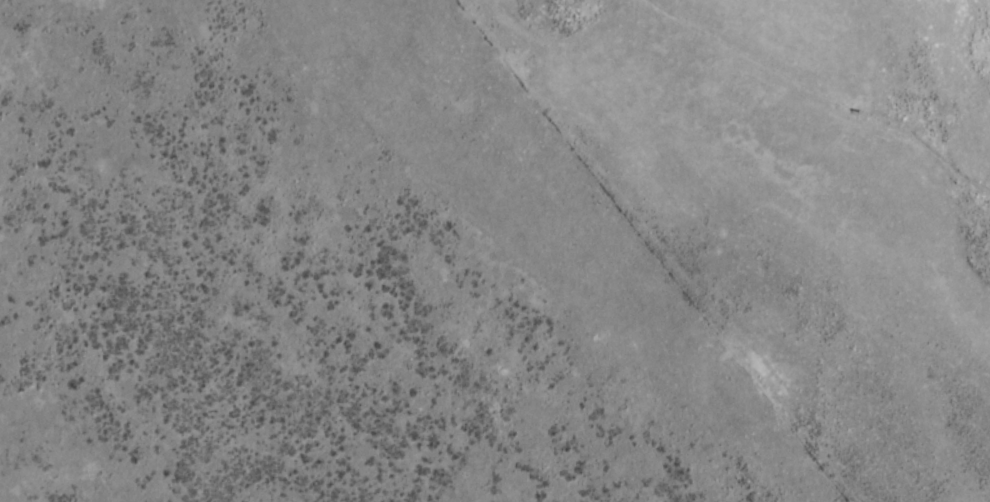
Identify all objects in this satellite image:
crop: (495, 251)

